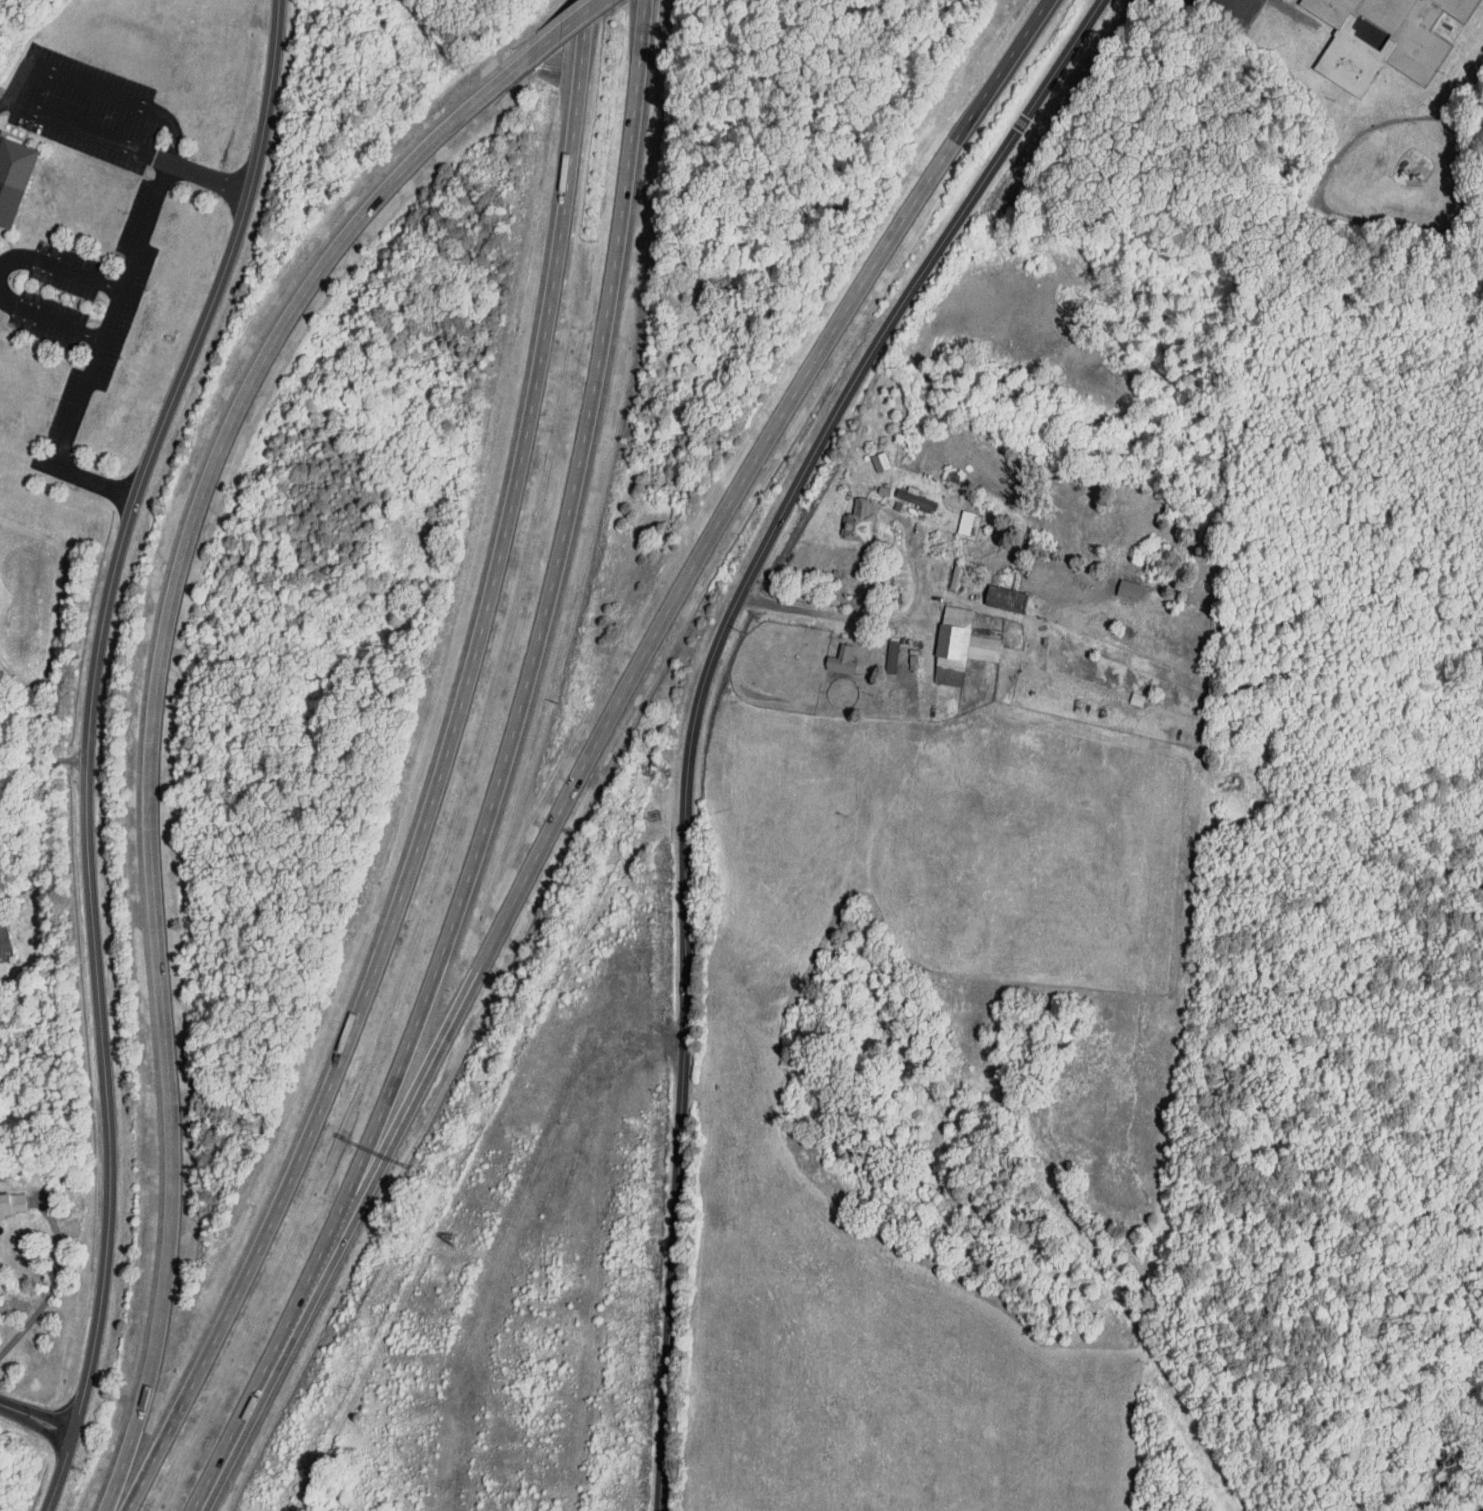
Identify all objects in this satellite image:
road: (571, 25)
building: (1384, 38)
road: (1000, 70)
road: (96, 87)
road: (92, 133)
building: (12, 177)
road: (57, 268)
road: (110, 318)
road: (50, 320)
road: (604, 342)
road: (798, 386)
road: (845, 398)
building: (879, 461)
building: (914, 497)
building: (965, 521)
building: (858, 523)
building: (1127, 588)
building: (1007, 599)
road: (866, 618)
building: (960, 647)
building: (892, 654)
building: (841, 659)
building: (892, 689)
road: (89, 706)
road: (153, 722)
road: (36, 767)
road: (436, 780)
building: (3, 941)
road: (475, 975)
road: (424, 999)
road: (678, 1174)
building: (11, 1203)
road: (54, 1285)
road: (246, 1411)
road: (36, 1420)
road: (59, 1474)

